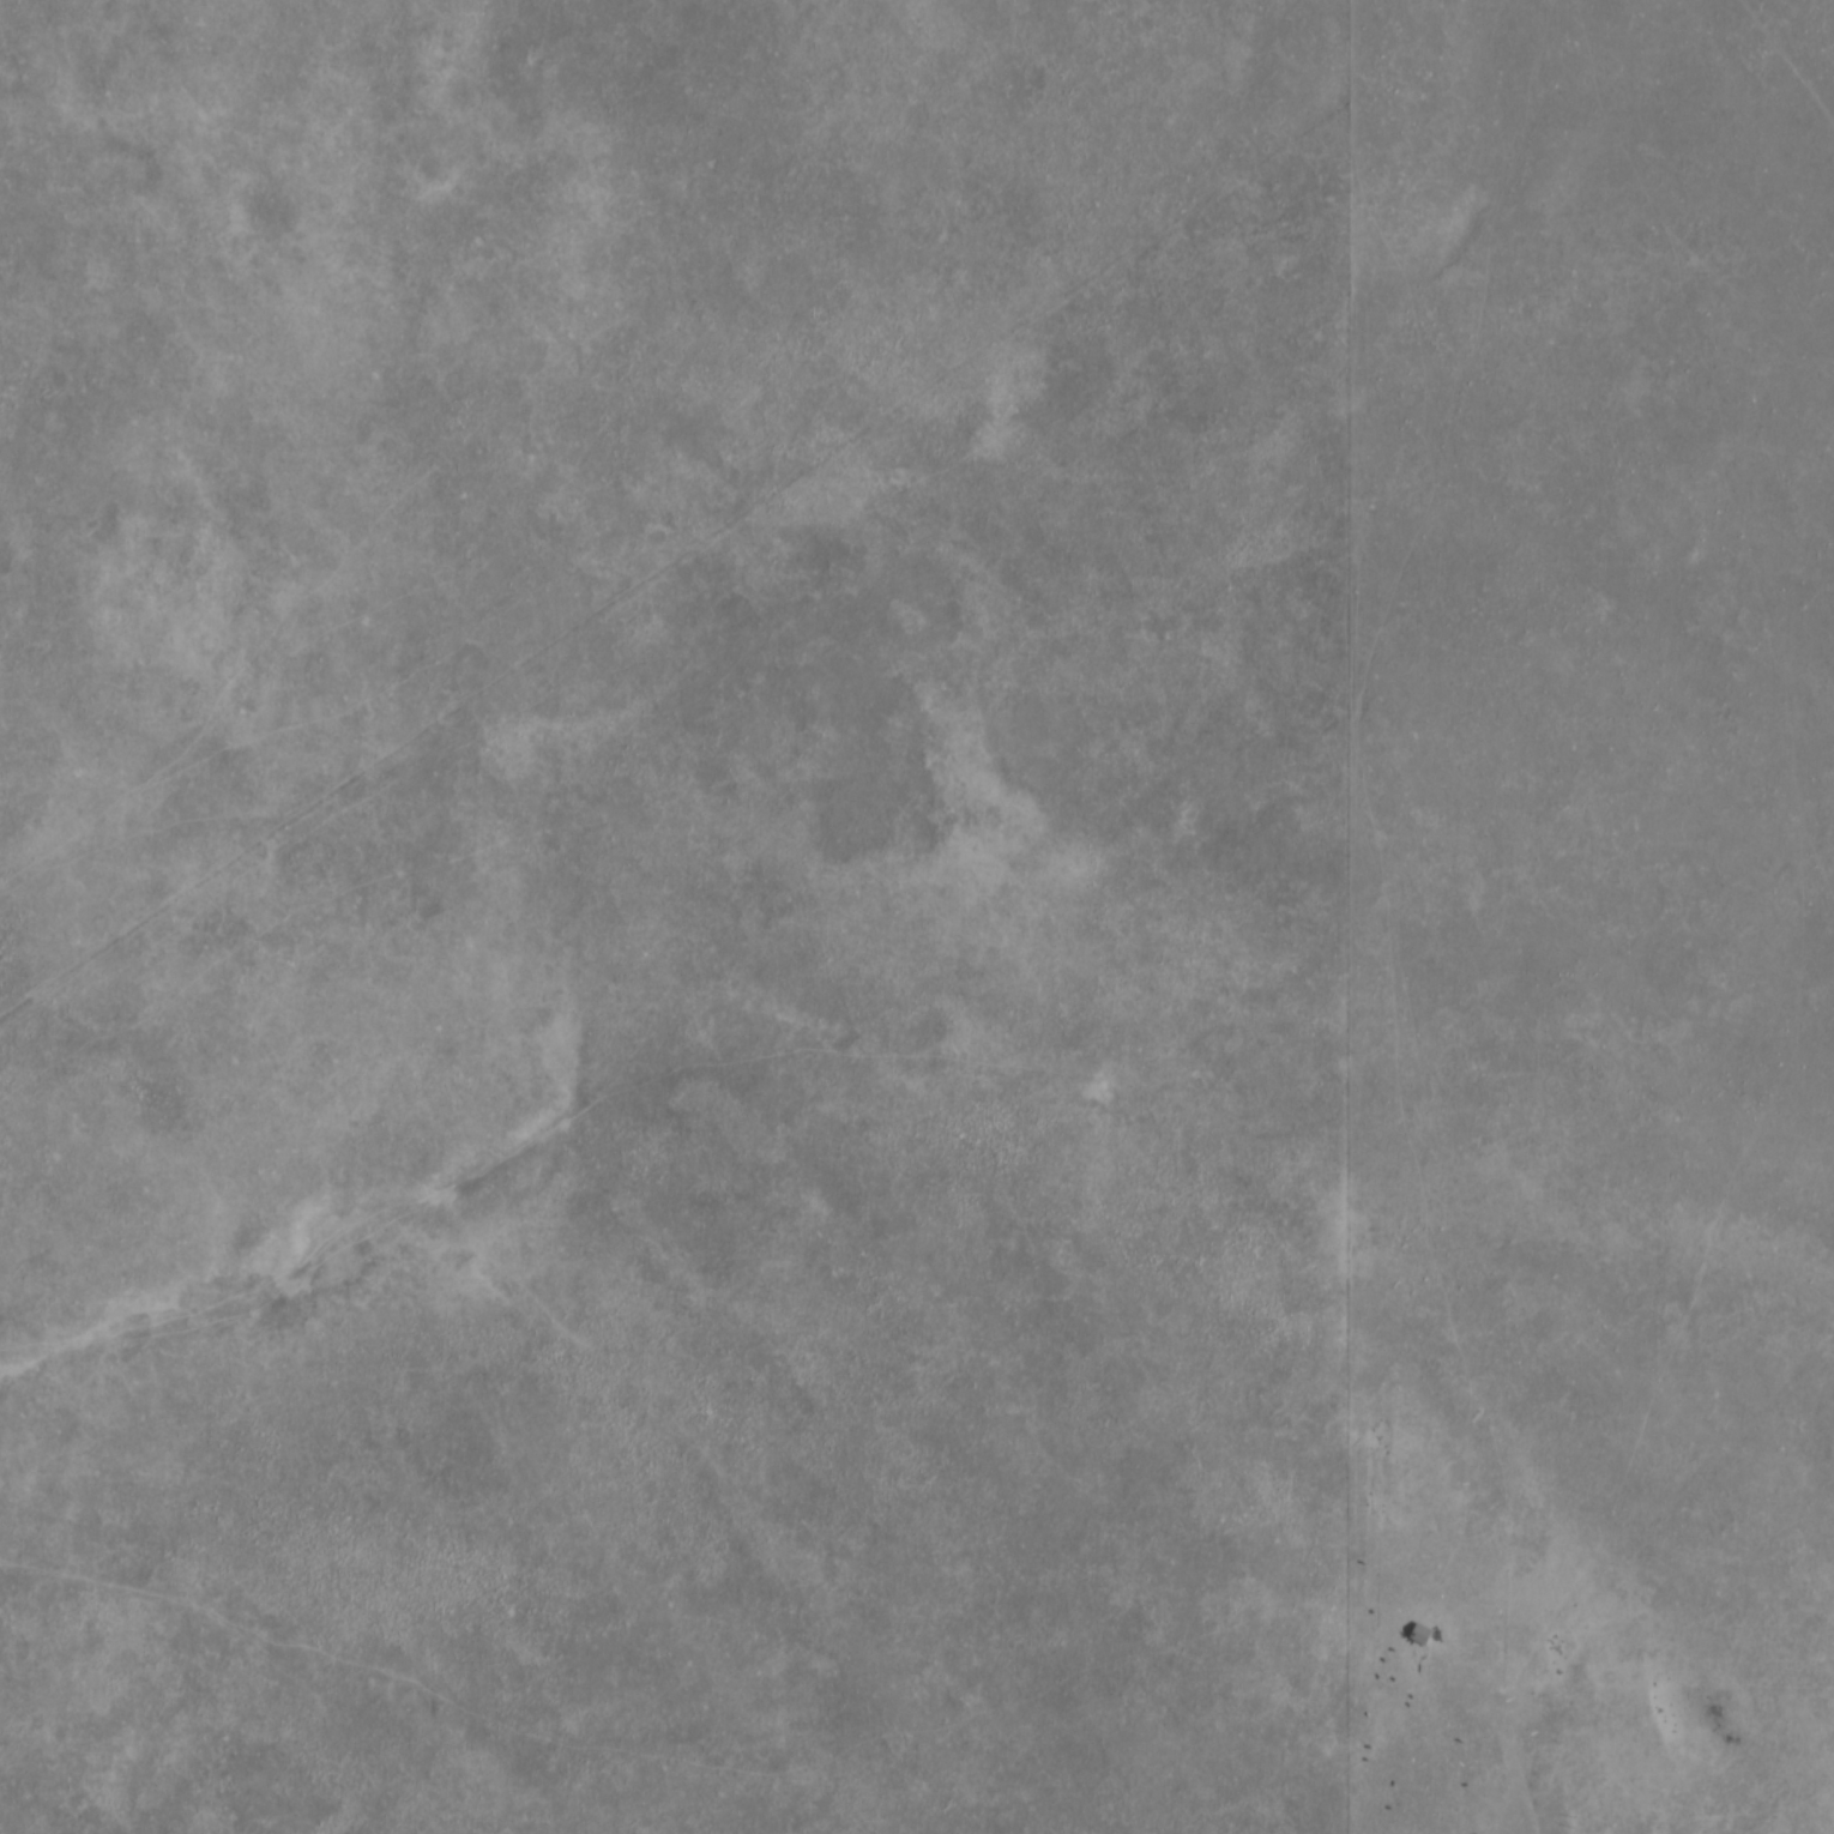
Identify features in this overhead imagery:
building: (1419, 1631)

